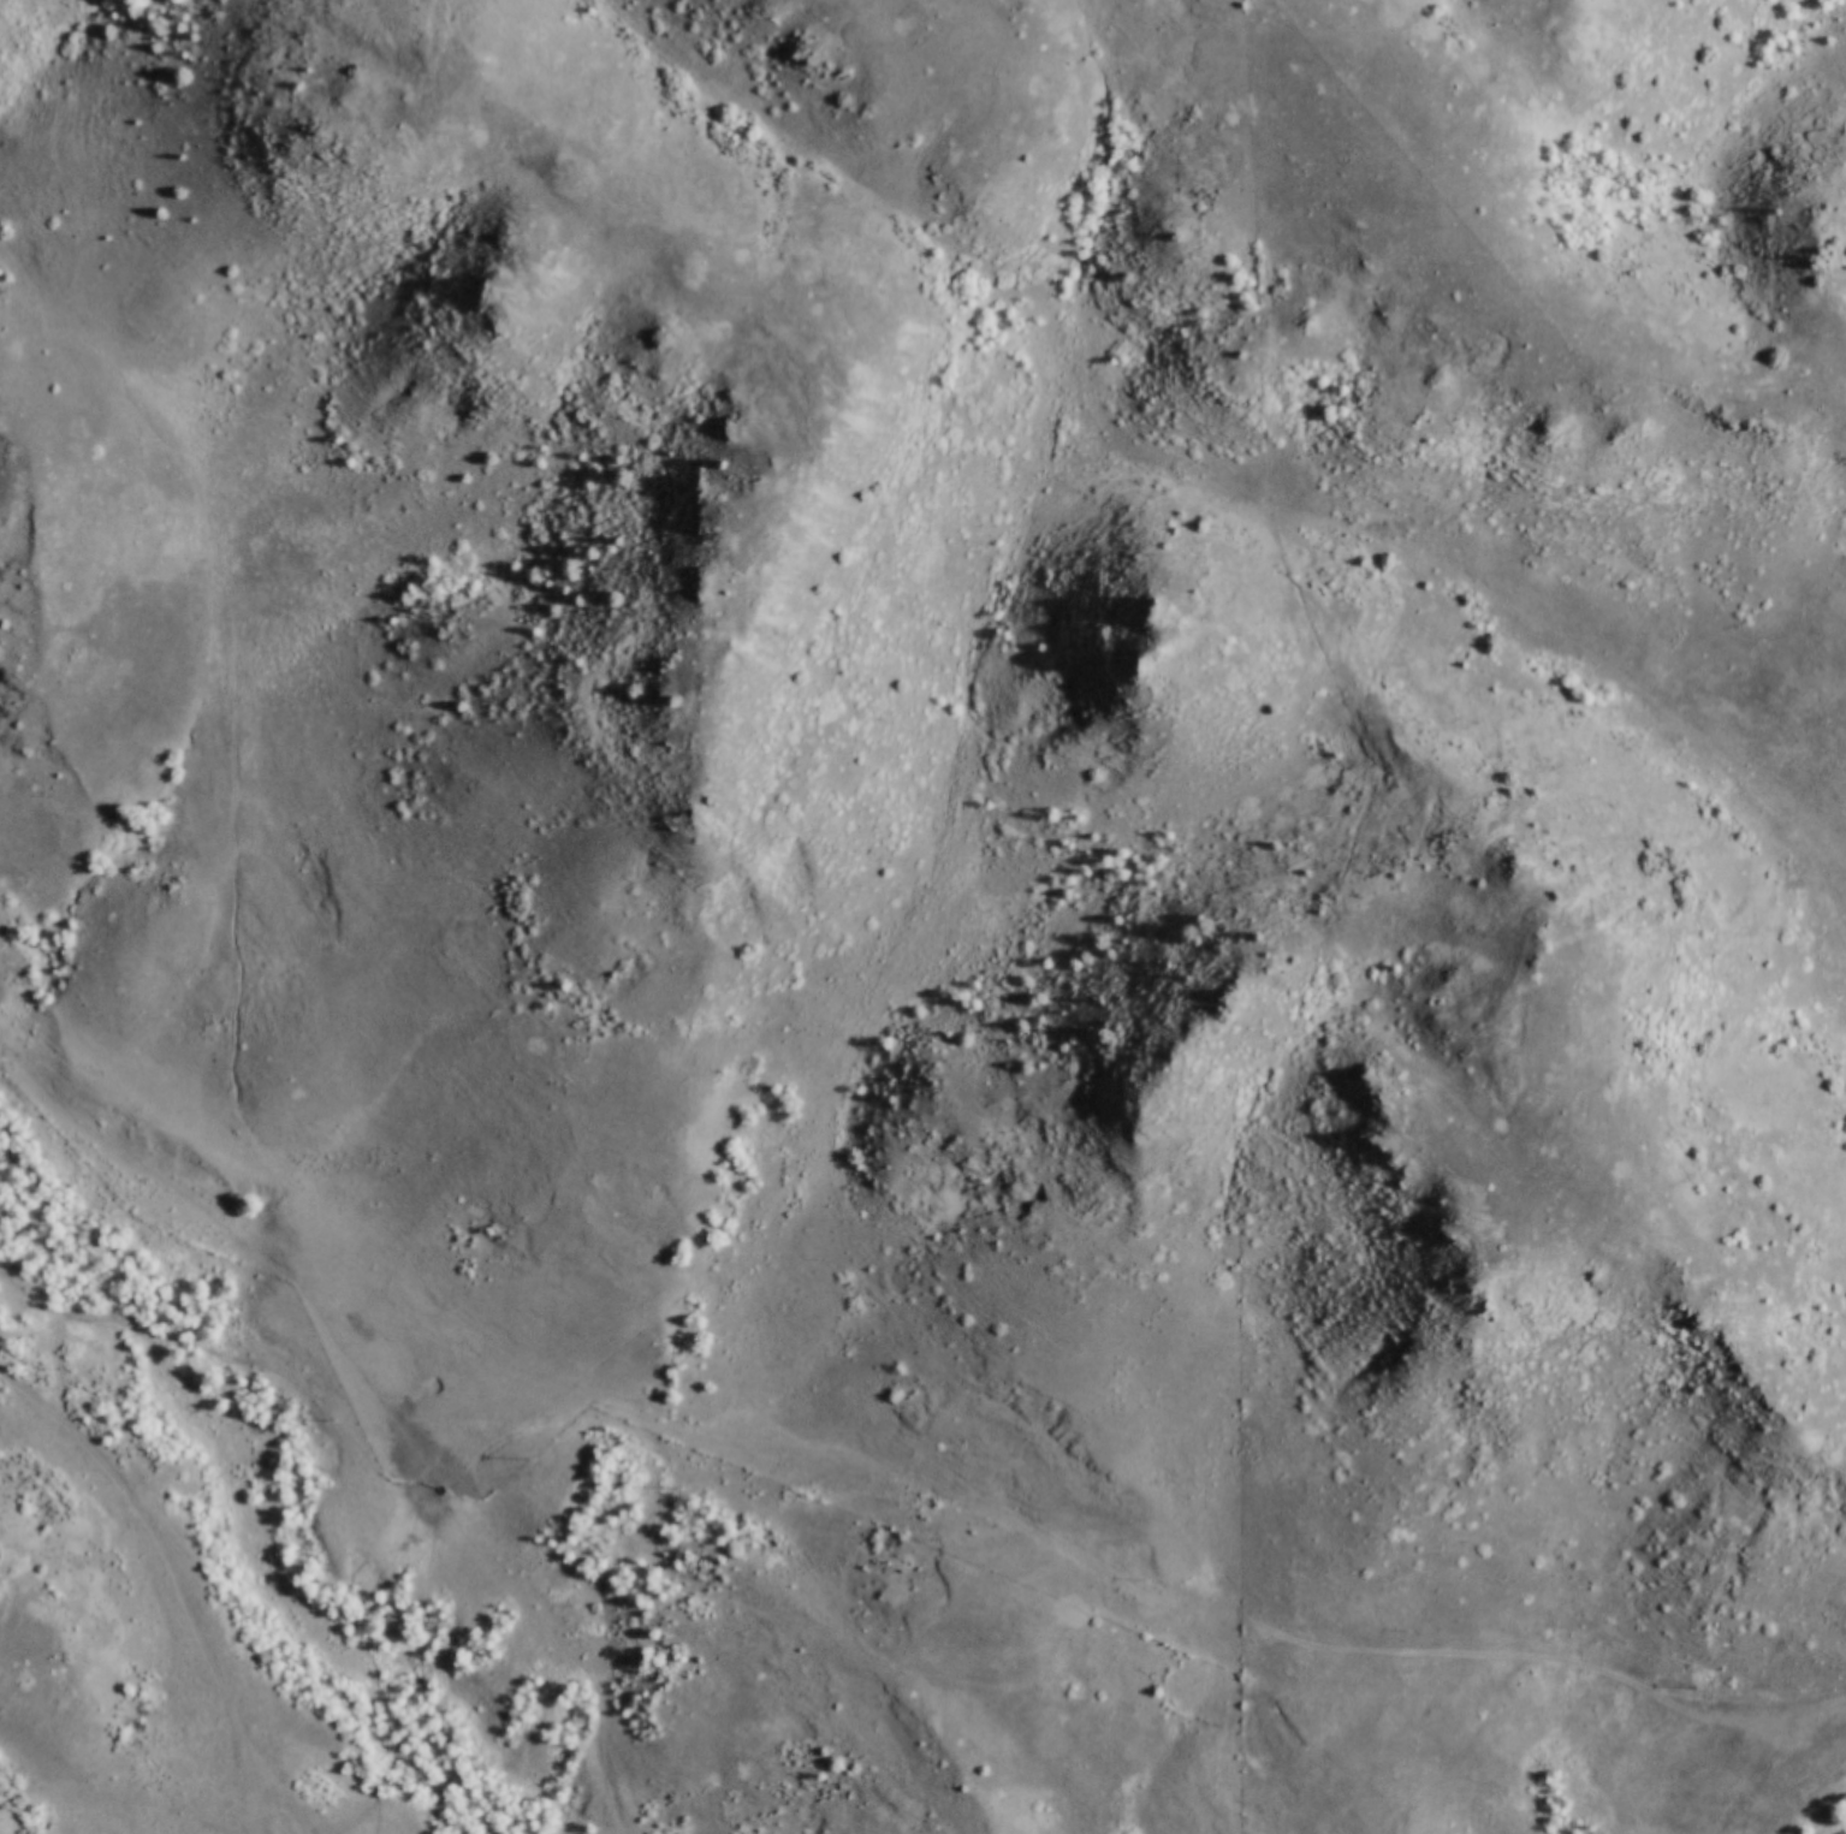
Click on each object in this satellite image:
road: (1556, 1658)

